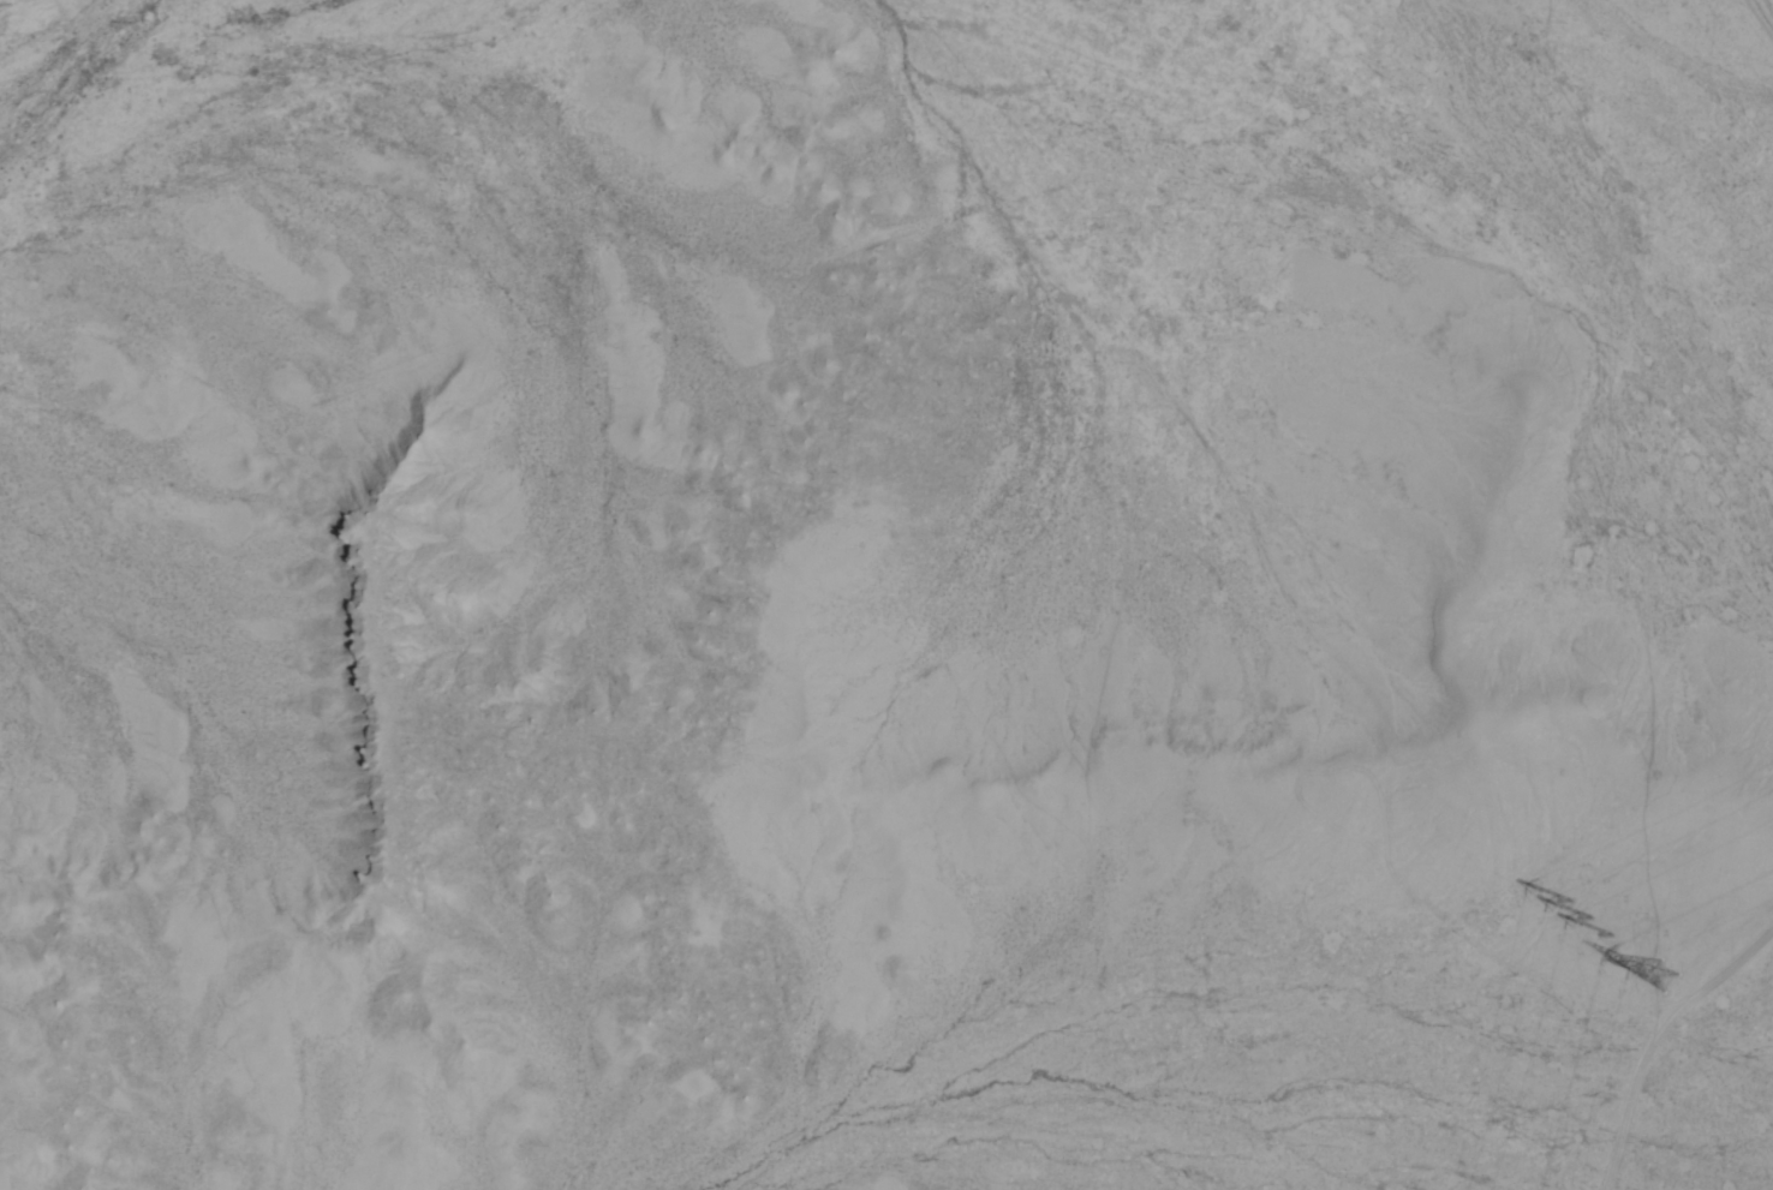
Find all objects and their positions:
power tower: (1586, 904)
power tower: (1660, 965)

